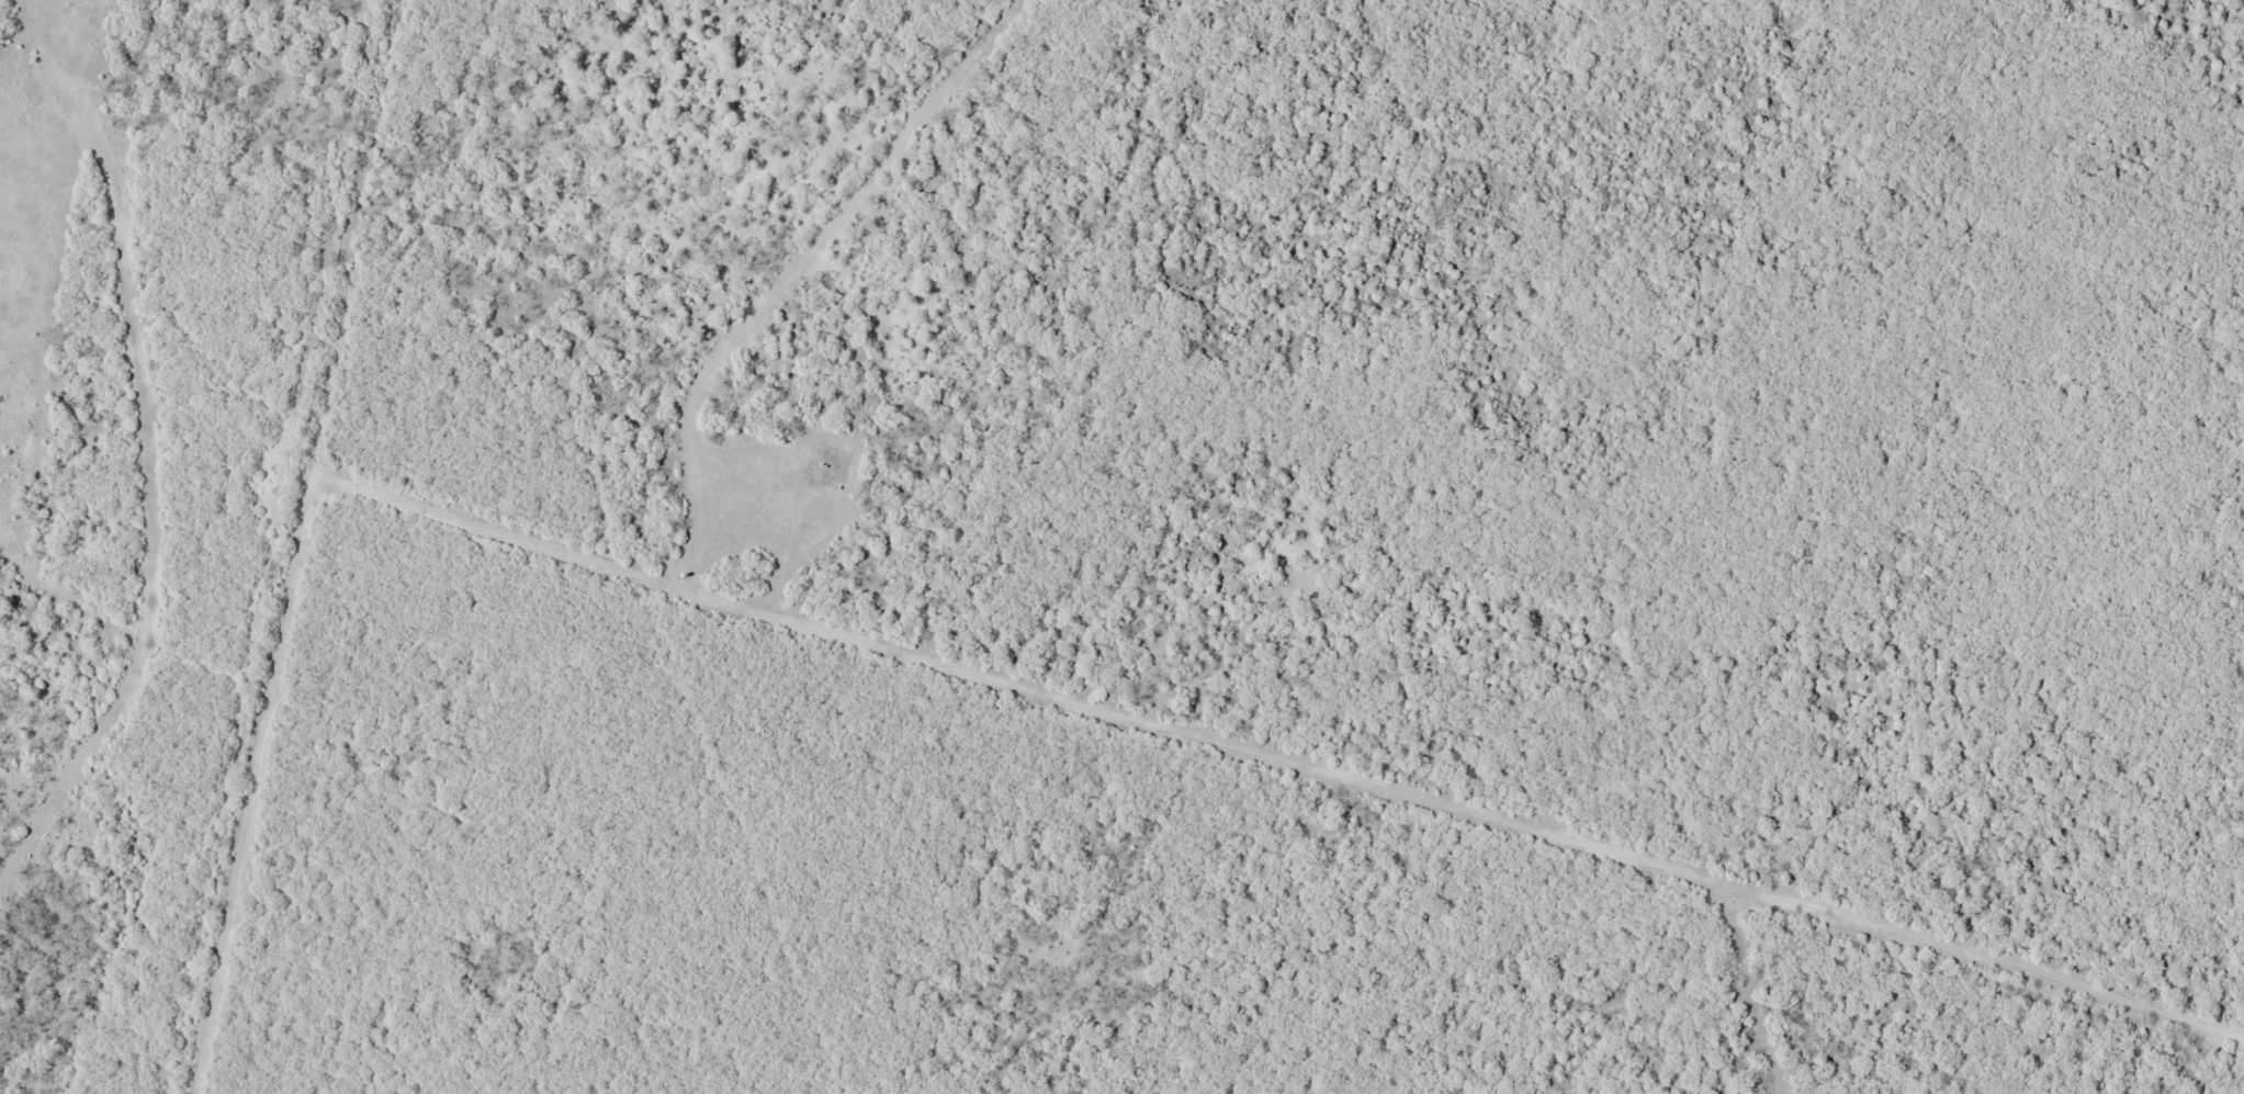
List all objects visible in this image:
road: (790, 274)
road: (300, 546)
road: (1275, 767)

